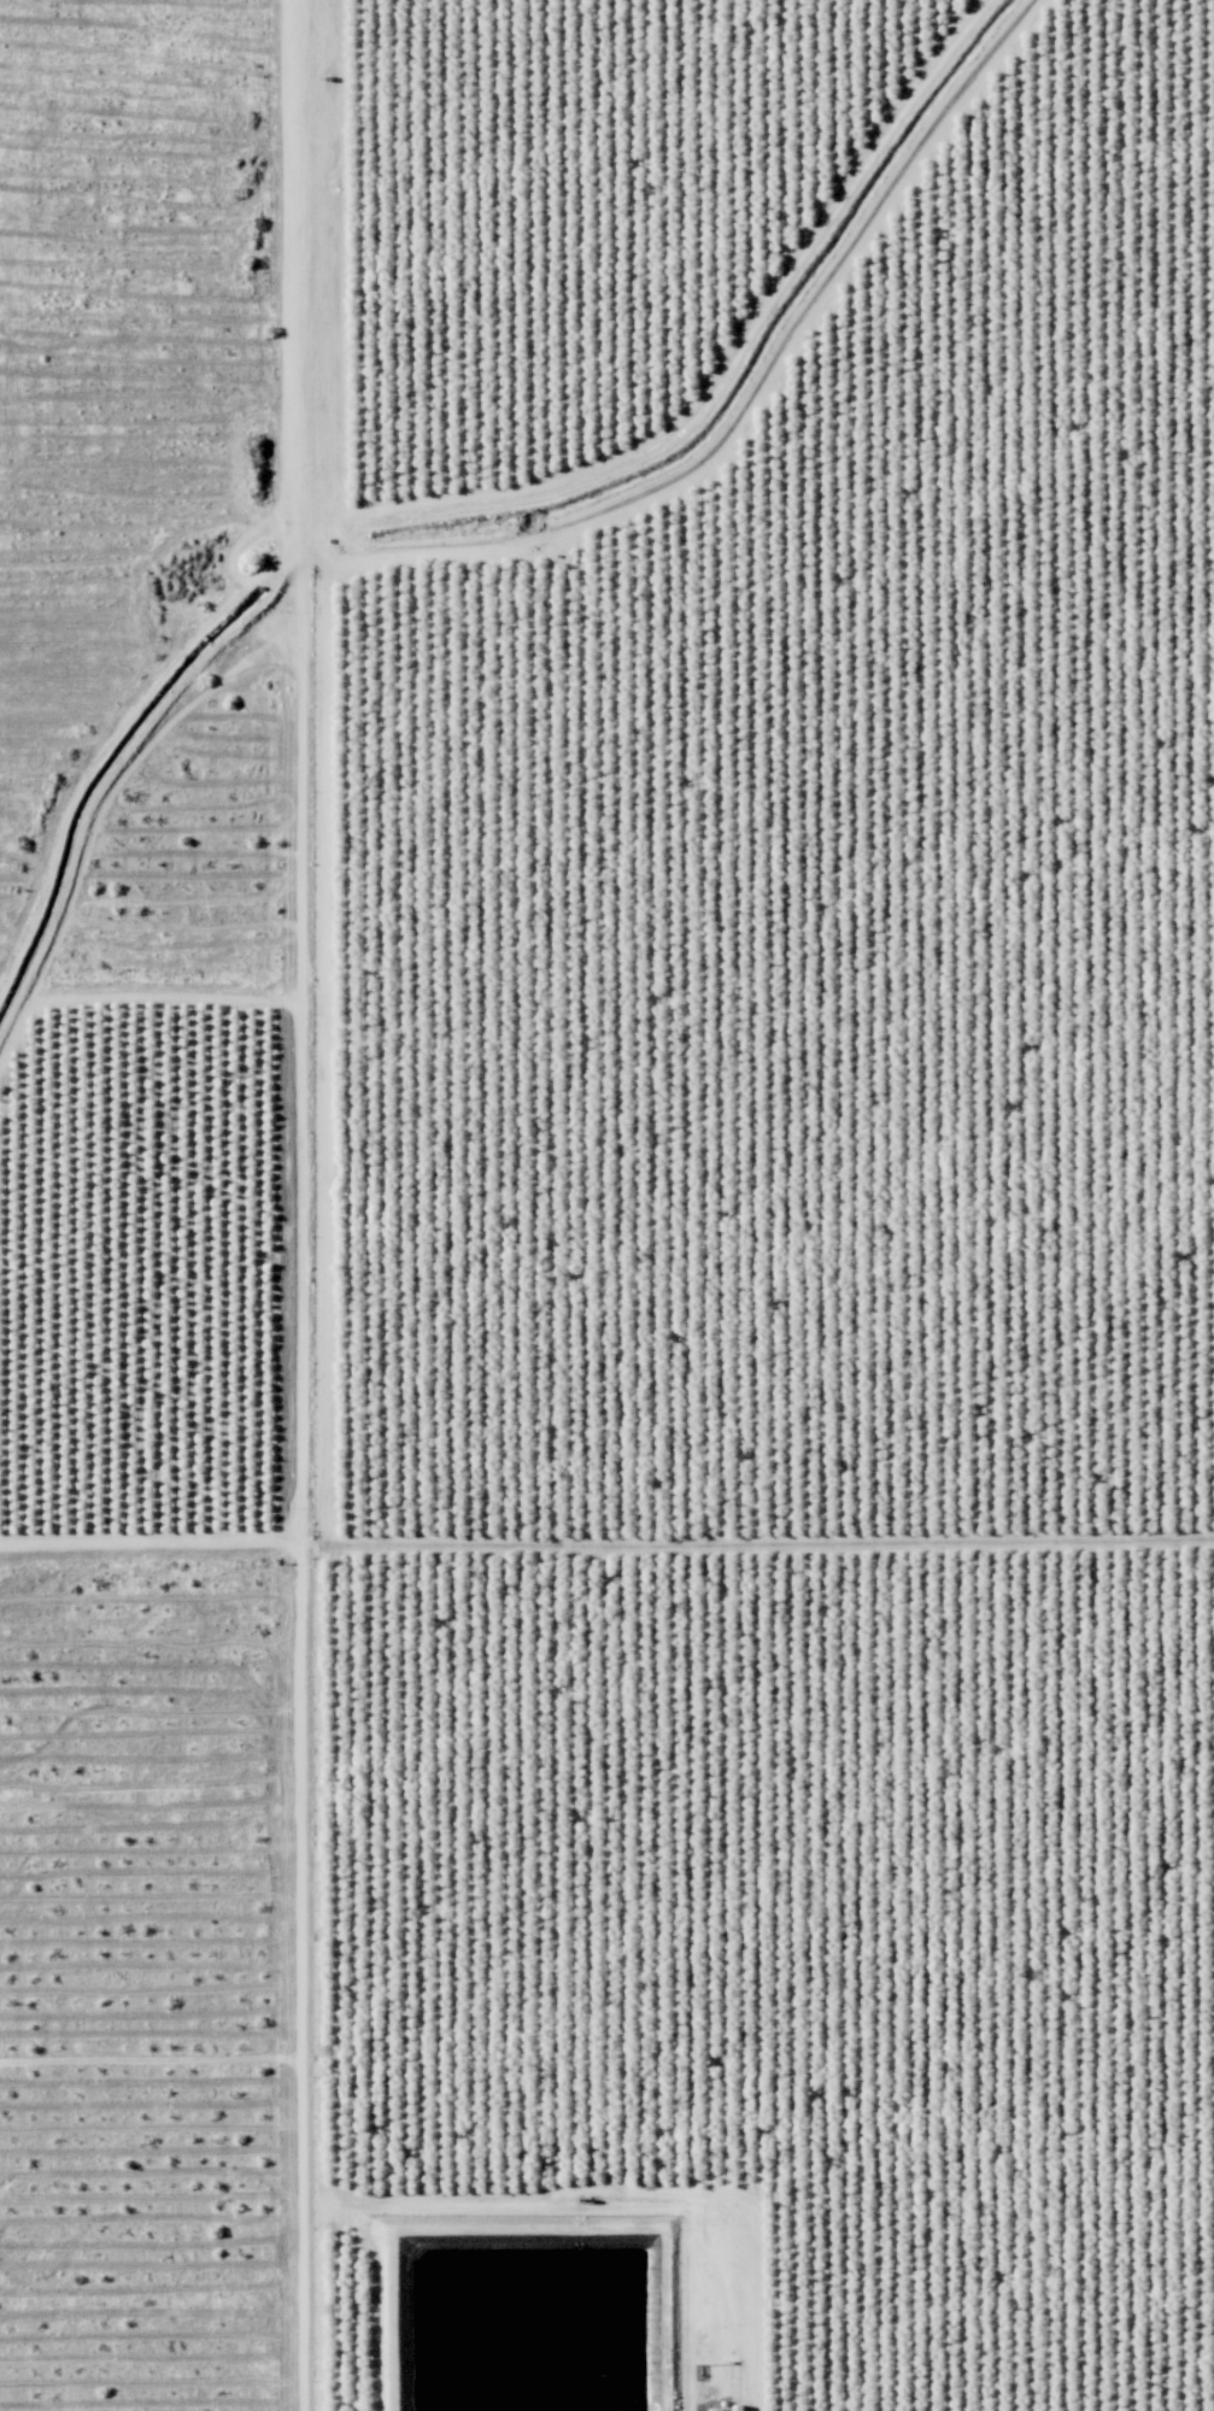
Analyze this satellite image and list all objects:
road: (301, 1204)
road: (758, 1541)
road: (152, 1542)

